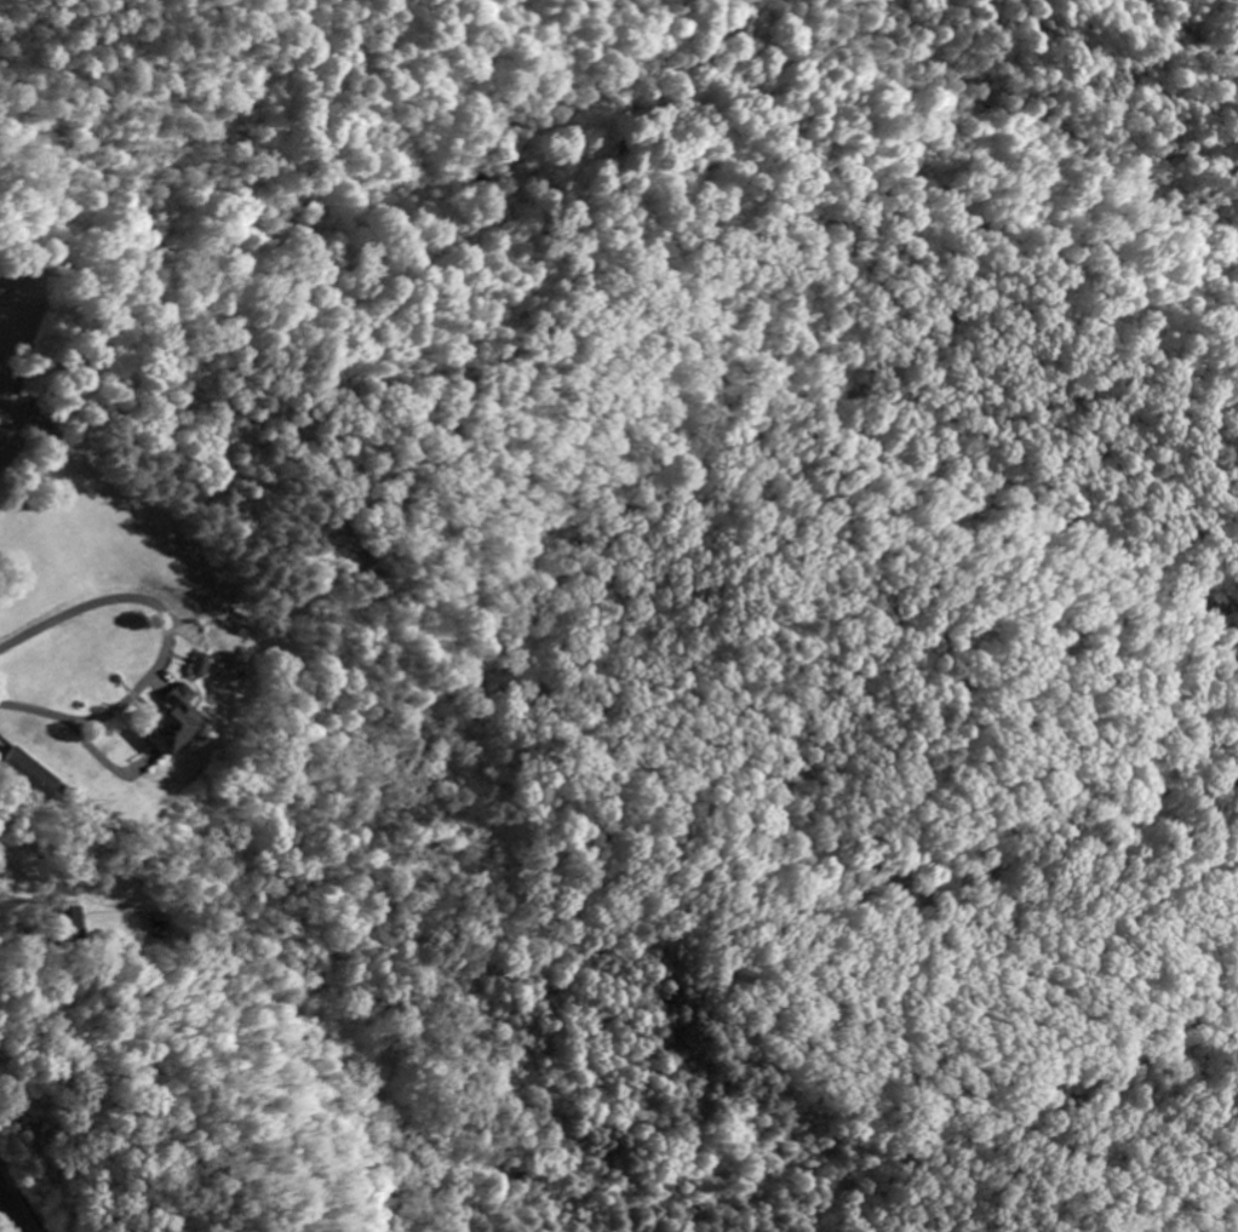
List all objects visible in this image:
road: (595, 98)
building: (197, 667)
building: (171, 723)
building: (29, 778)
road: (12, 1211)

